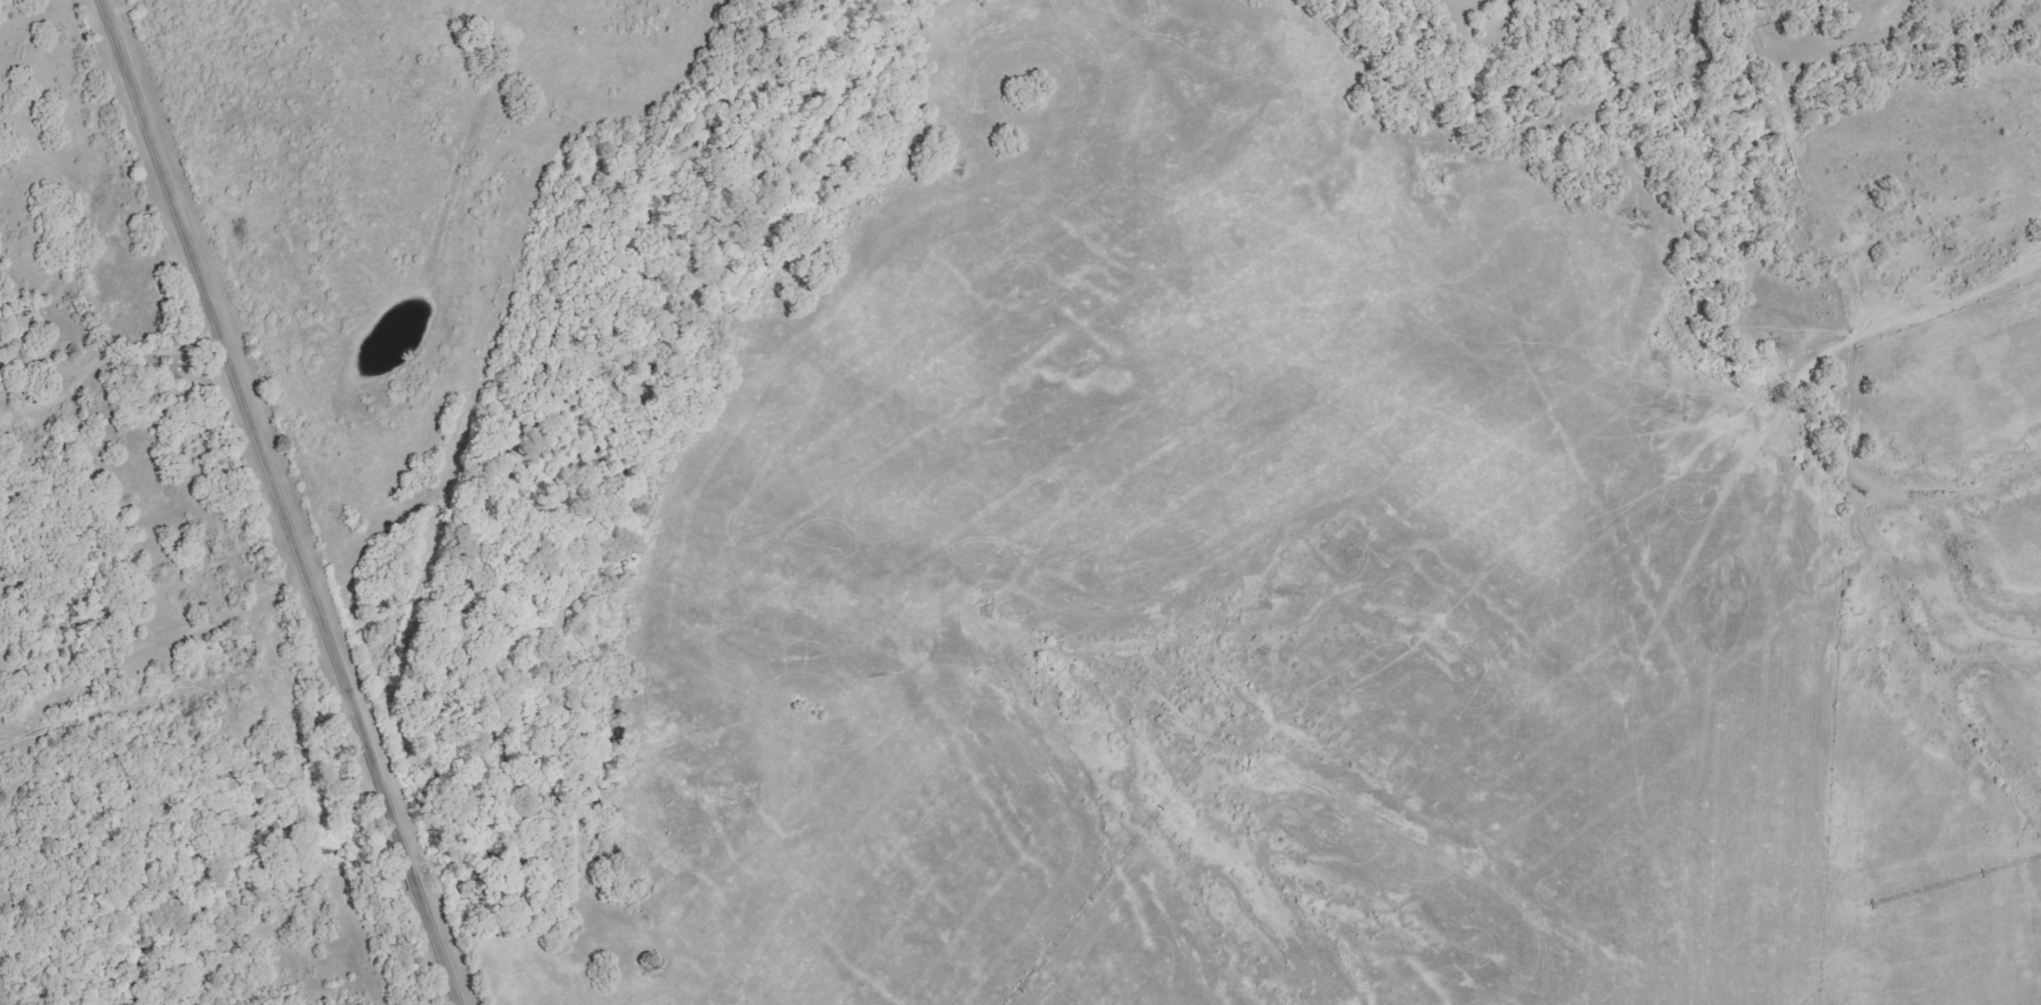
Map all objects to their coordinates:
road: (281, 502)

